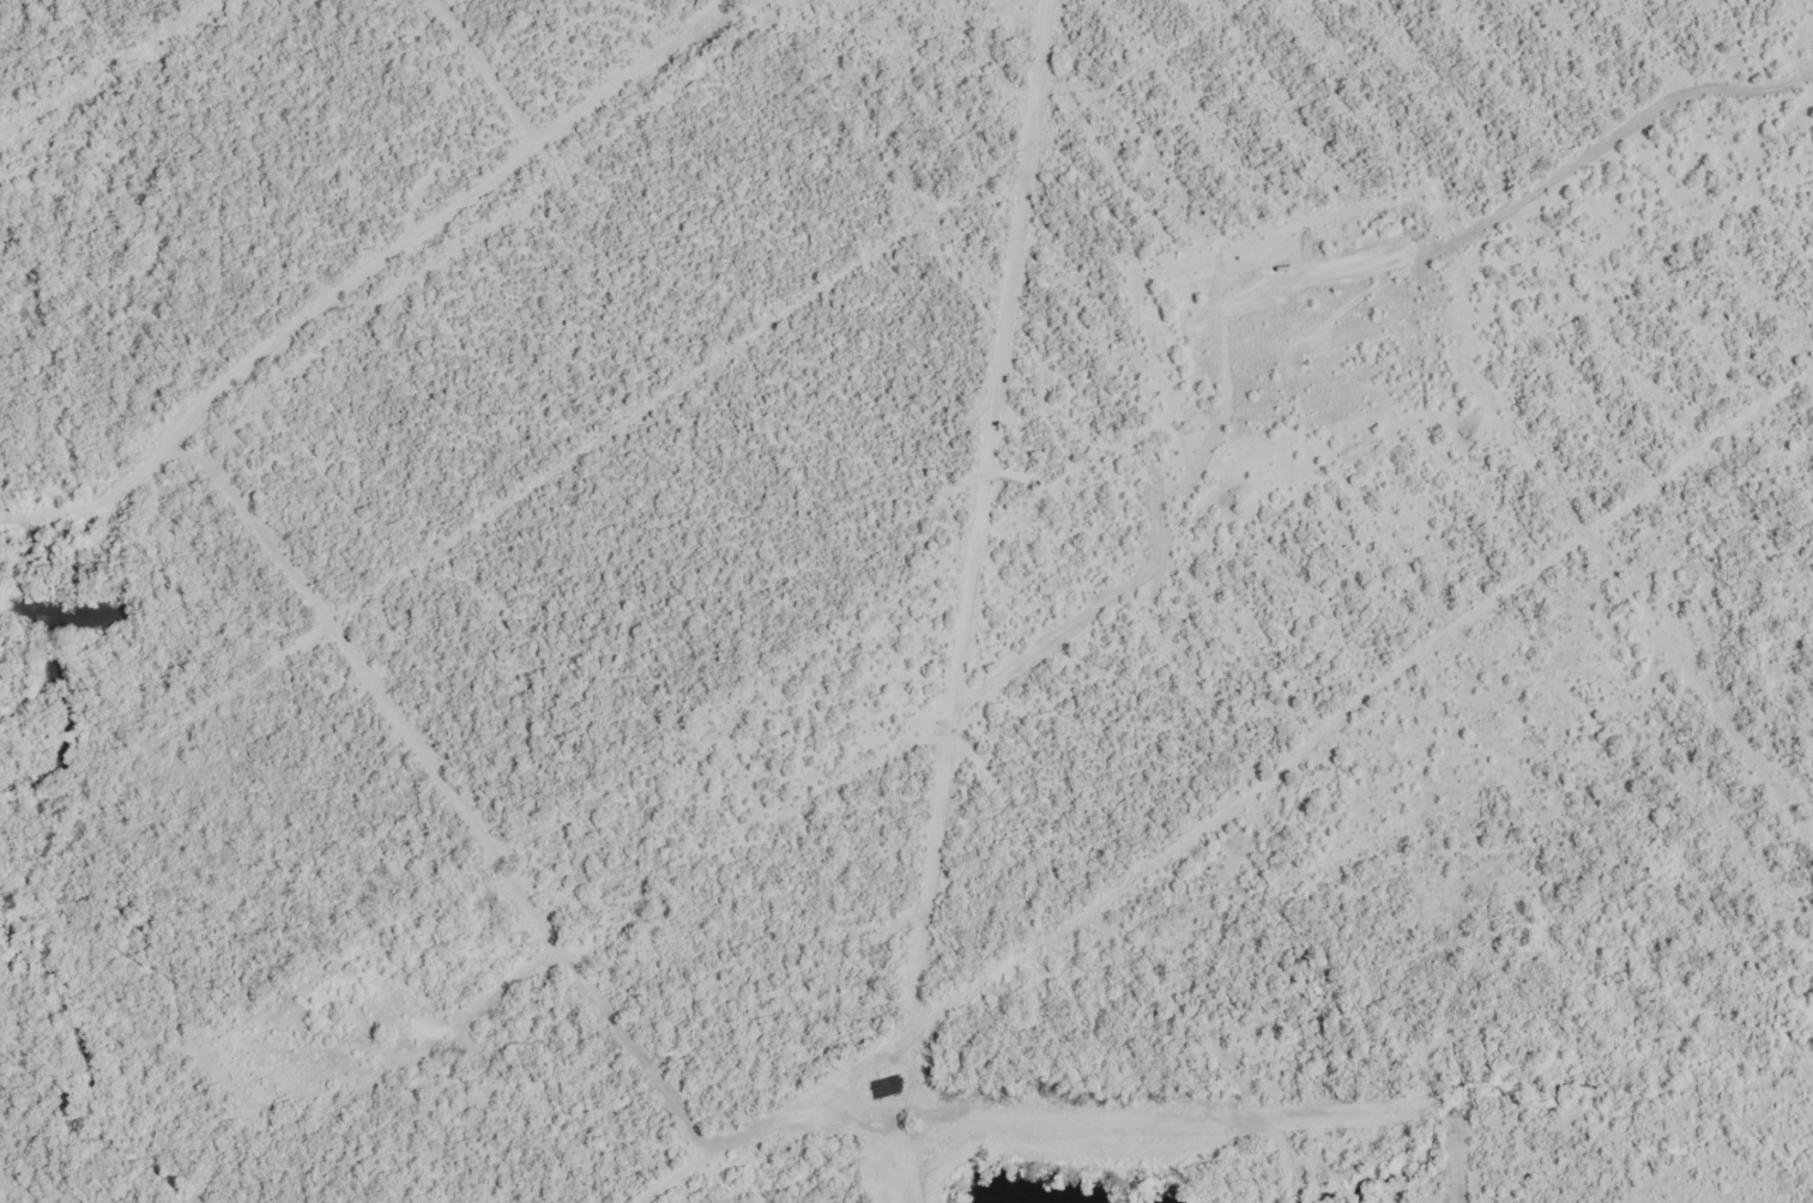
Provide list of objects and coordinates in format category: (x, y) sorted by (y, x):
road: (397, 274)

